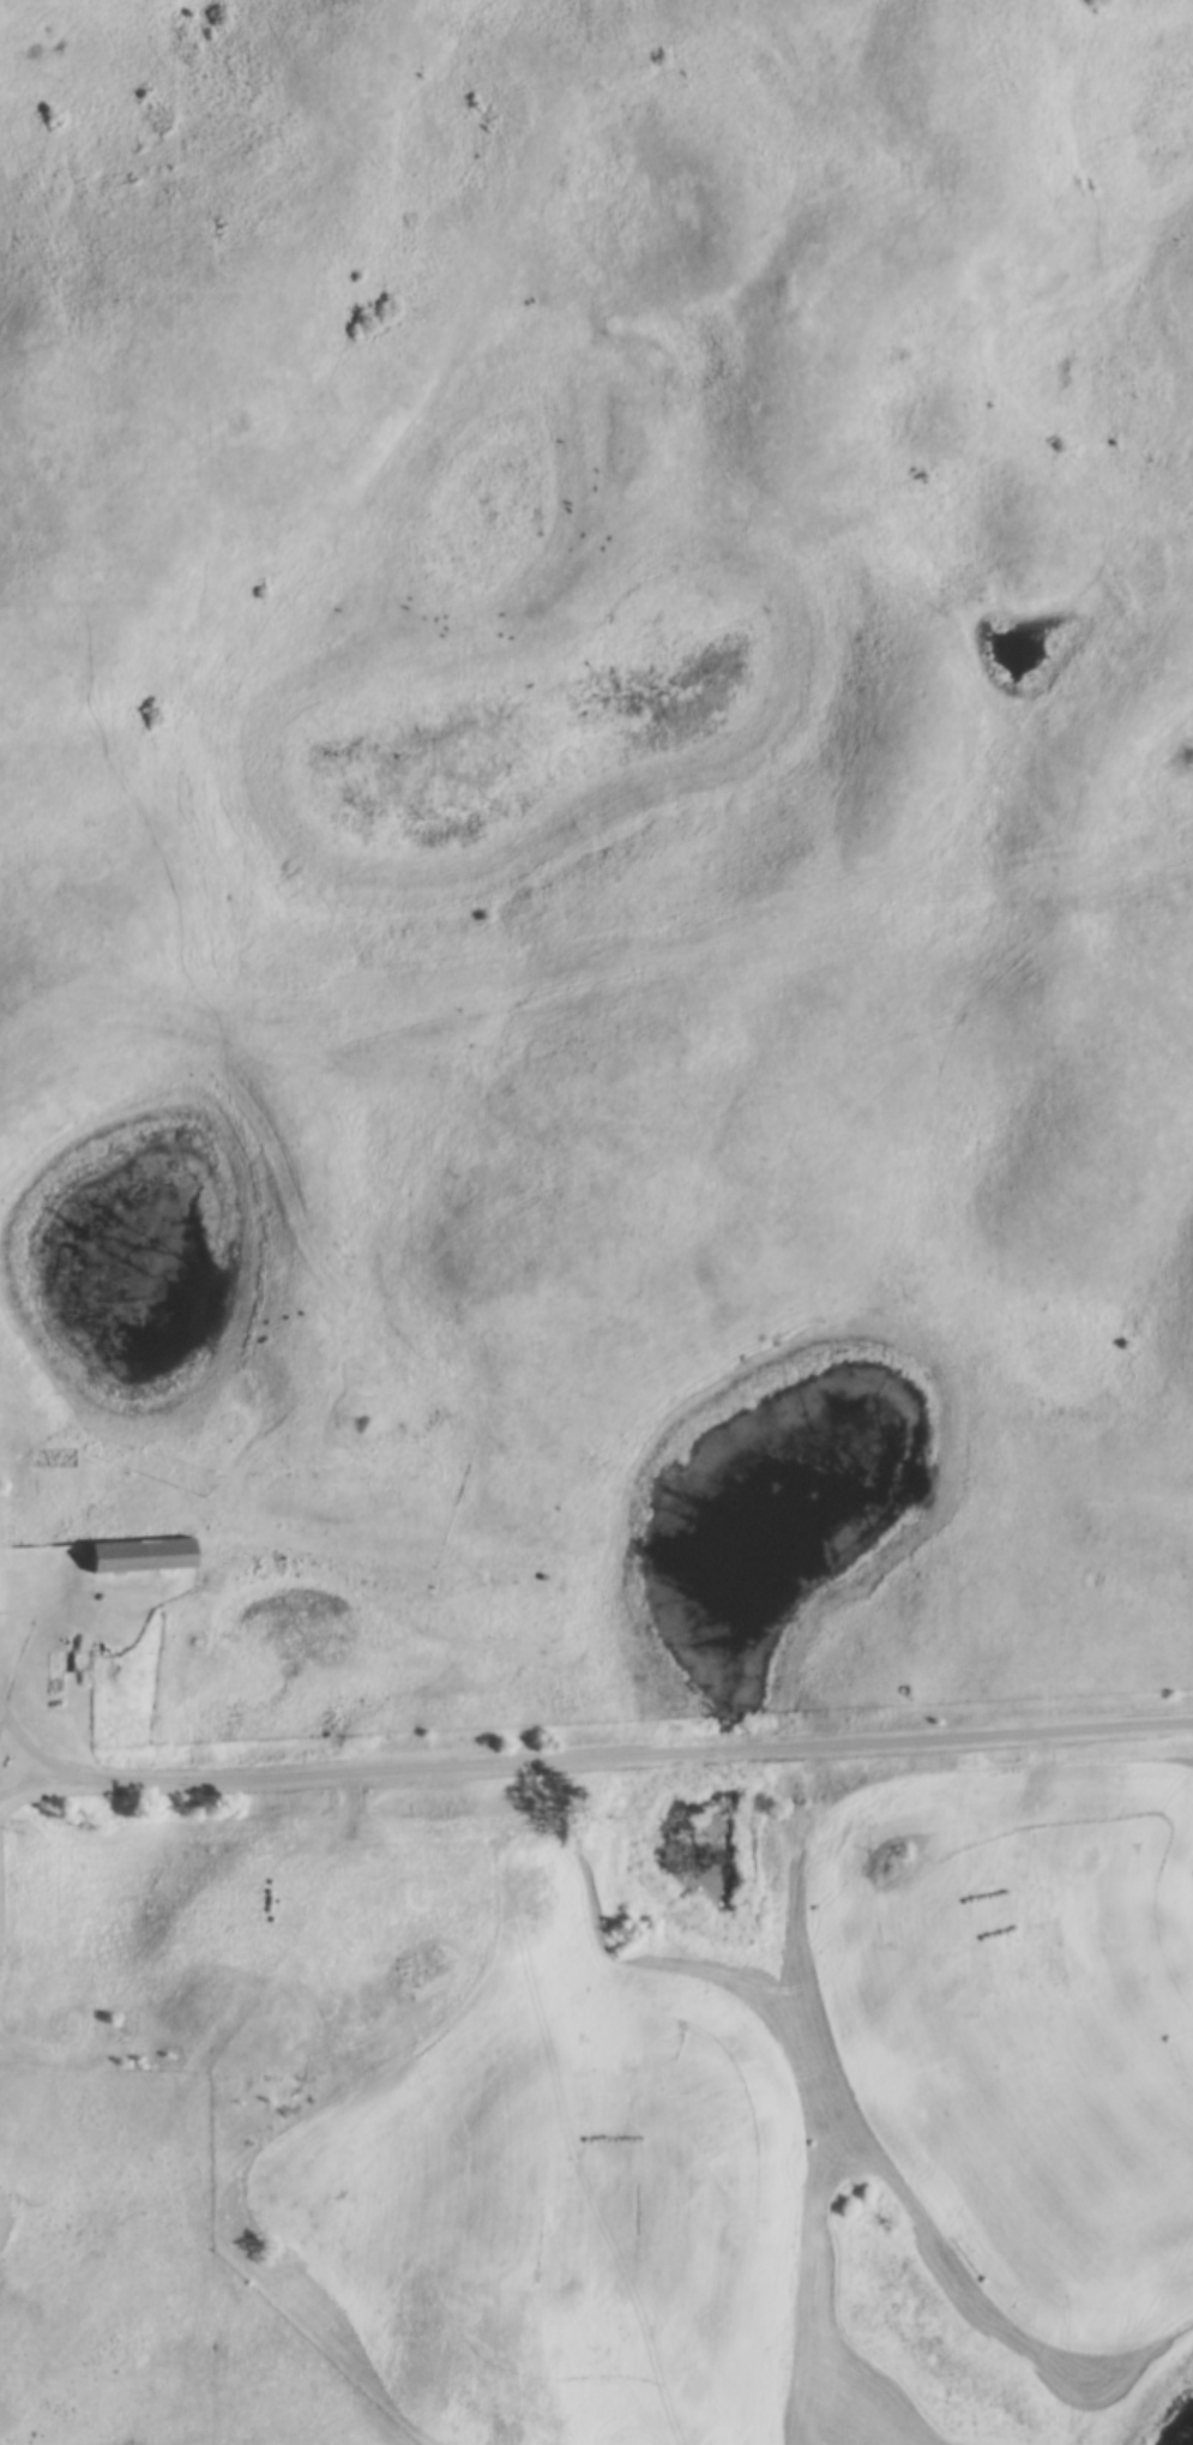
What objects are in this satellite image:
building: (138, 1558)
road: (34, 1743)
road: (595, 1752)

